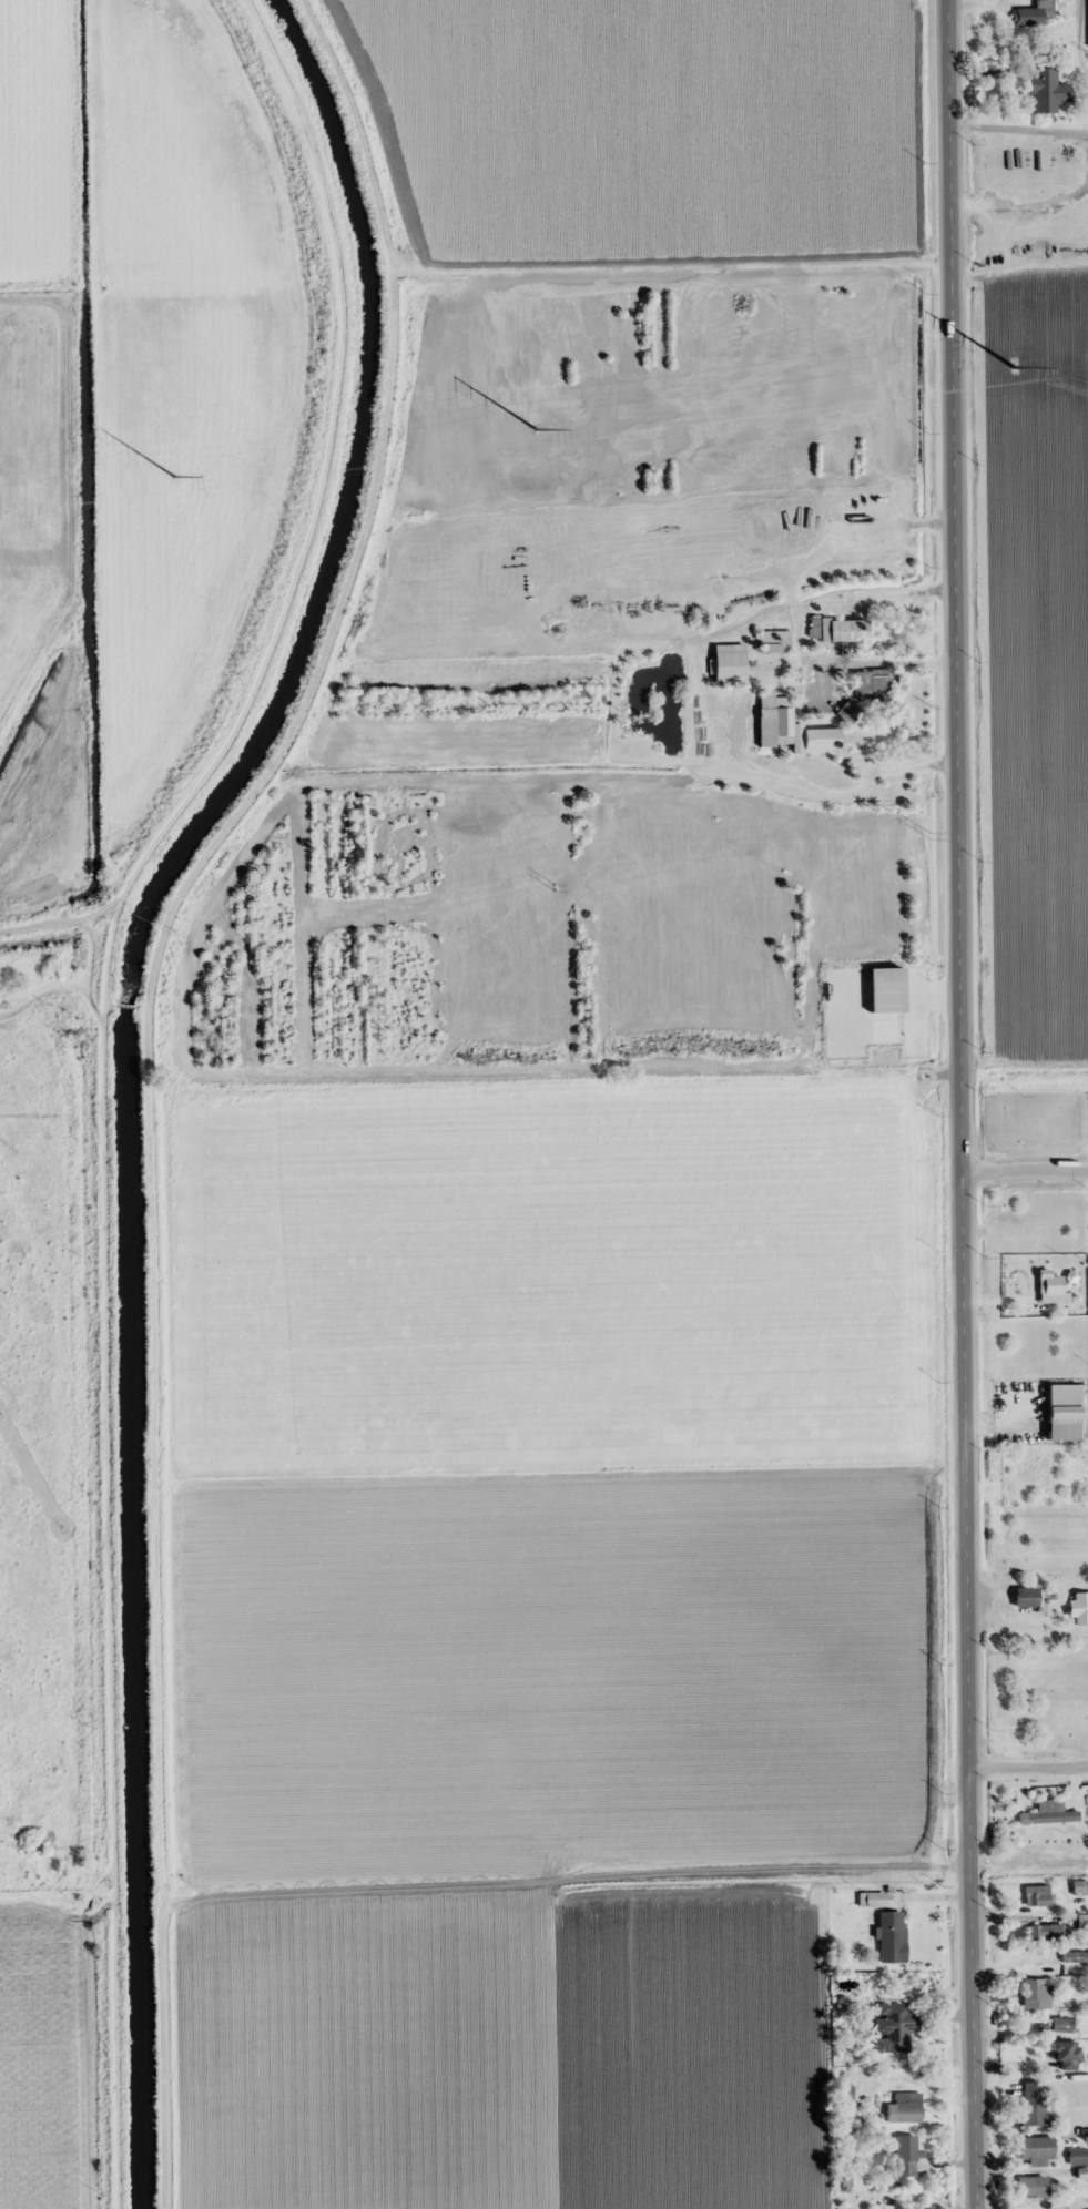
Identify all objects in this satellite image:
building: (1036, 14)
building: (1046, 91)
power tower: (1015, 364)
power tower: (538, 427)
power tower: (175, 474)
building: (838, 630)
building: (775, 641)
building: (729, 666)
building: (873, 684)
building: (848, 711)
building: (775, 721)
building: (821, 740)
power tower: (931, 836)
power tower: (553, 888)
power tower: (181, 939)
road: (959, 1104)
road: (1024, 1169)
building: (1050, 1286)
building: (1028, 1597)
building: (1080, 1609)
road: (1028, 1768)
building: (1079, 1889)
building: (1037, 1896)
building: (1044, 1932)
building: (892, 1937)
building: (1075, 1957)
building: (1035, 1994)
building: (1062, 2025)
building: (896, 2026)
building: (1065, 2055)
building: (1034, 2107)
building: (905, 2108)
building: (1035, 2149)
building: (907, 2157)
building: (1078, 2157)
building: (1082, 2175)
building: (1034, 2188)

